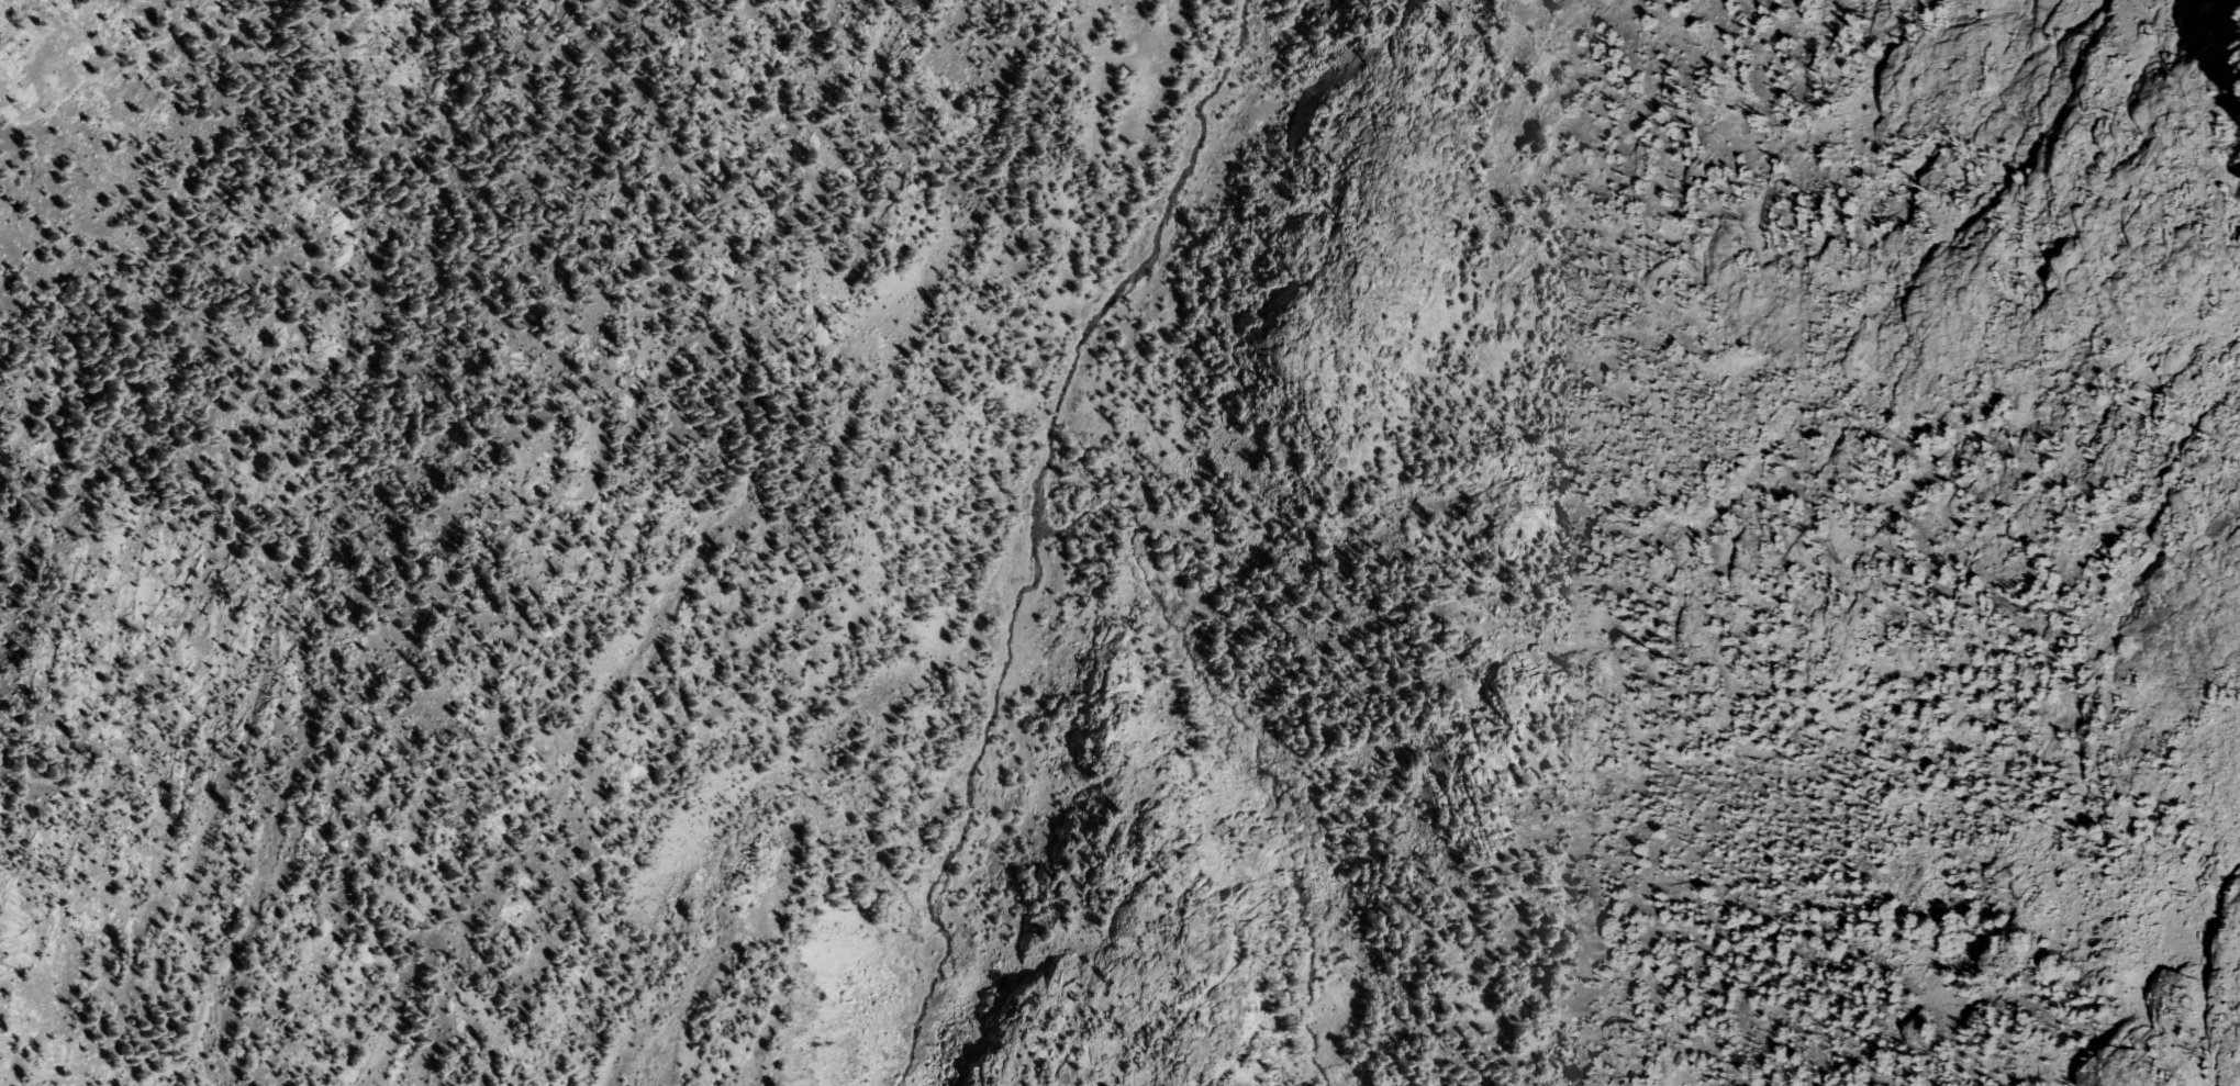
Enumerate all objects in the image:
road: (135, 68)
road: (12, 436)
road: (180, 870)

